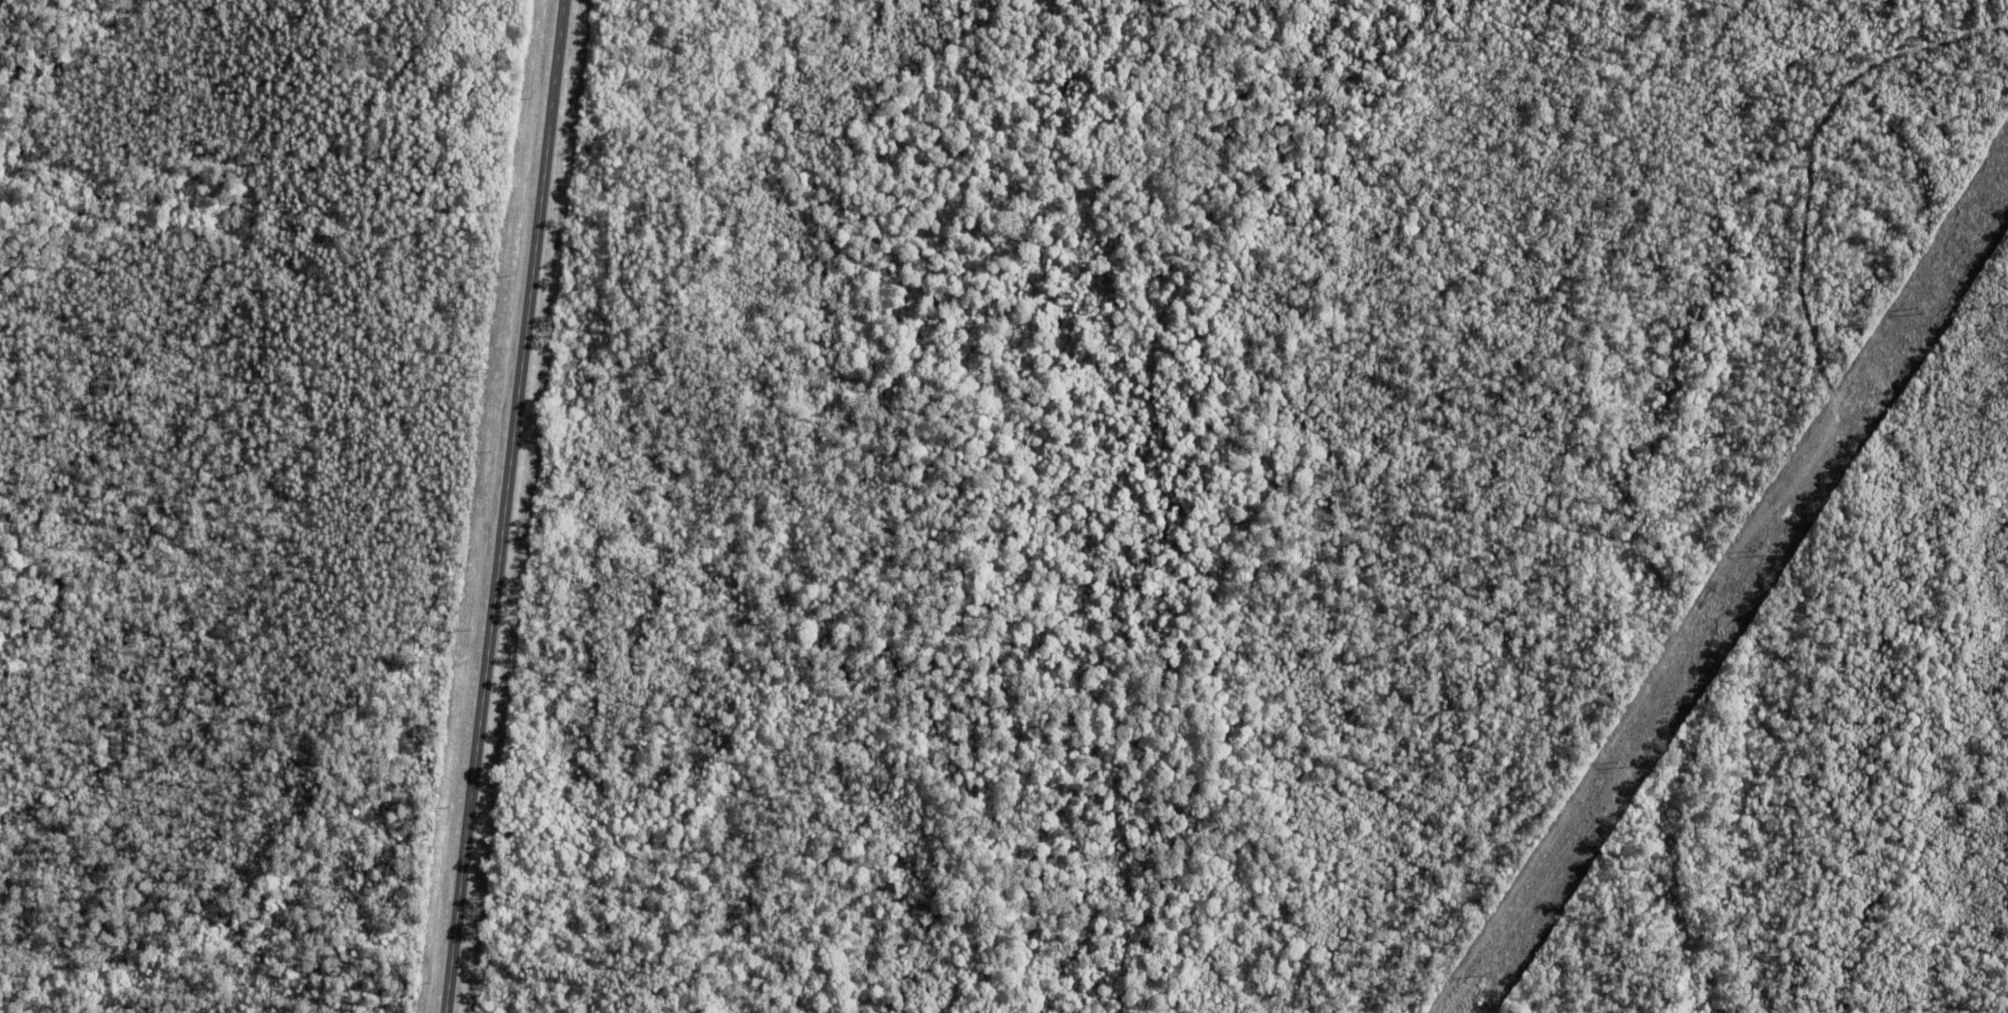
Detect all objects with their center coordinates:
road: (505, 506)

